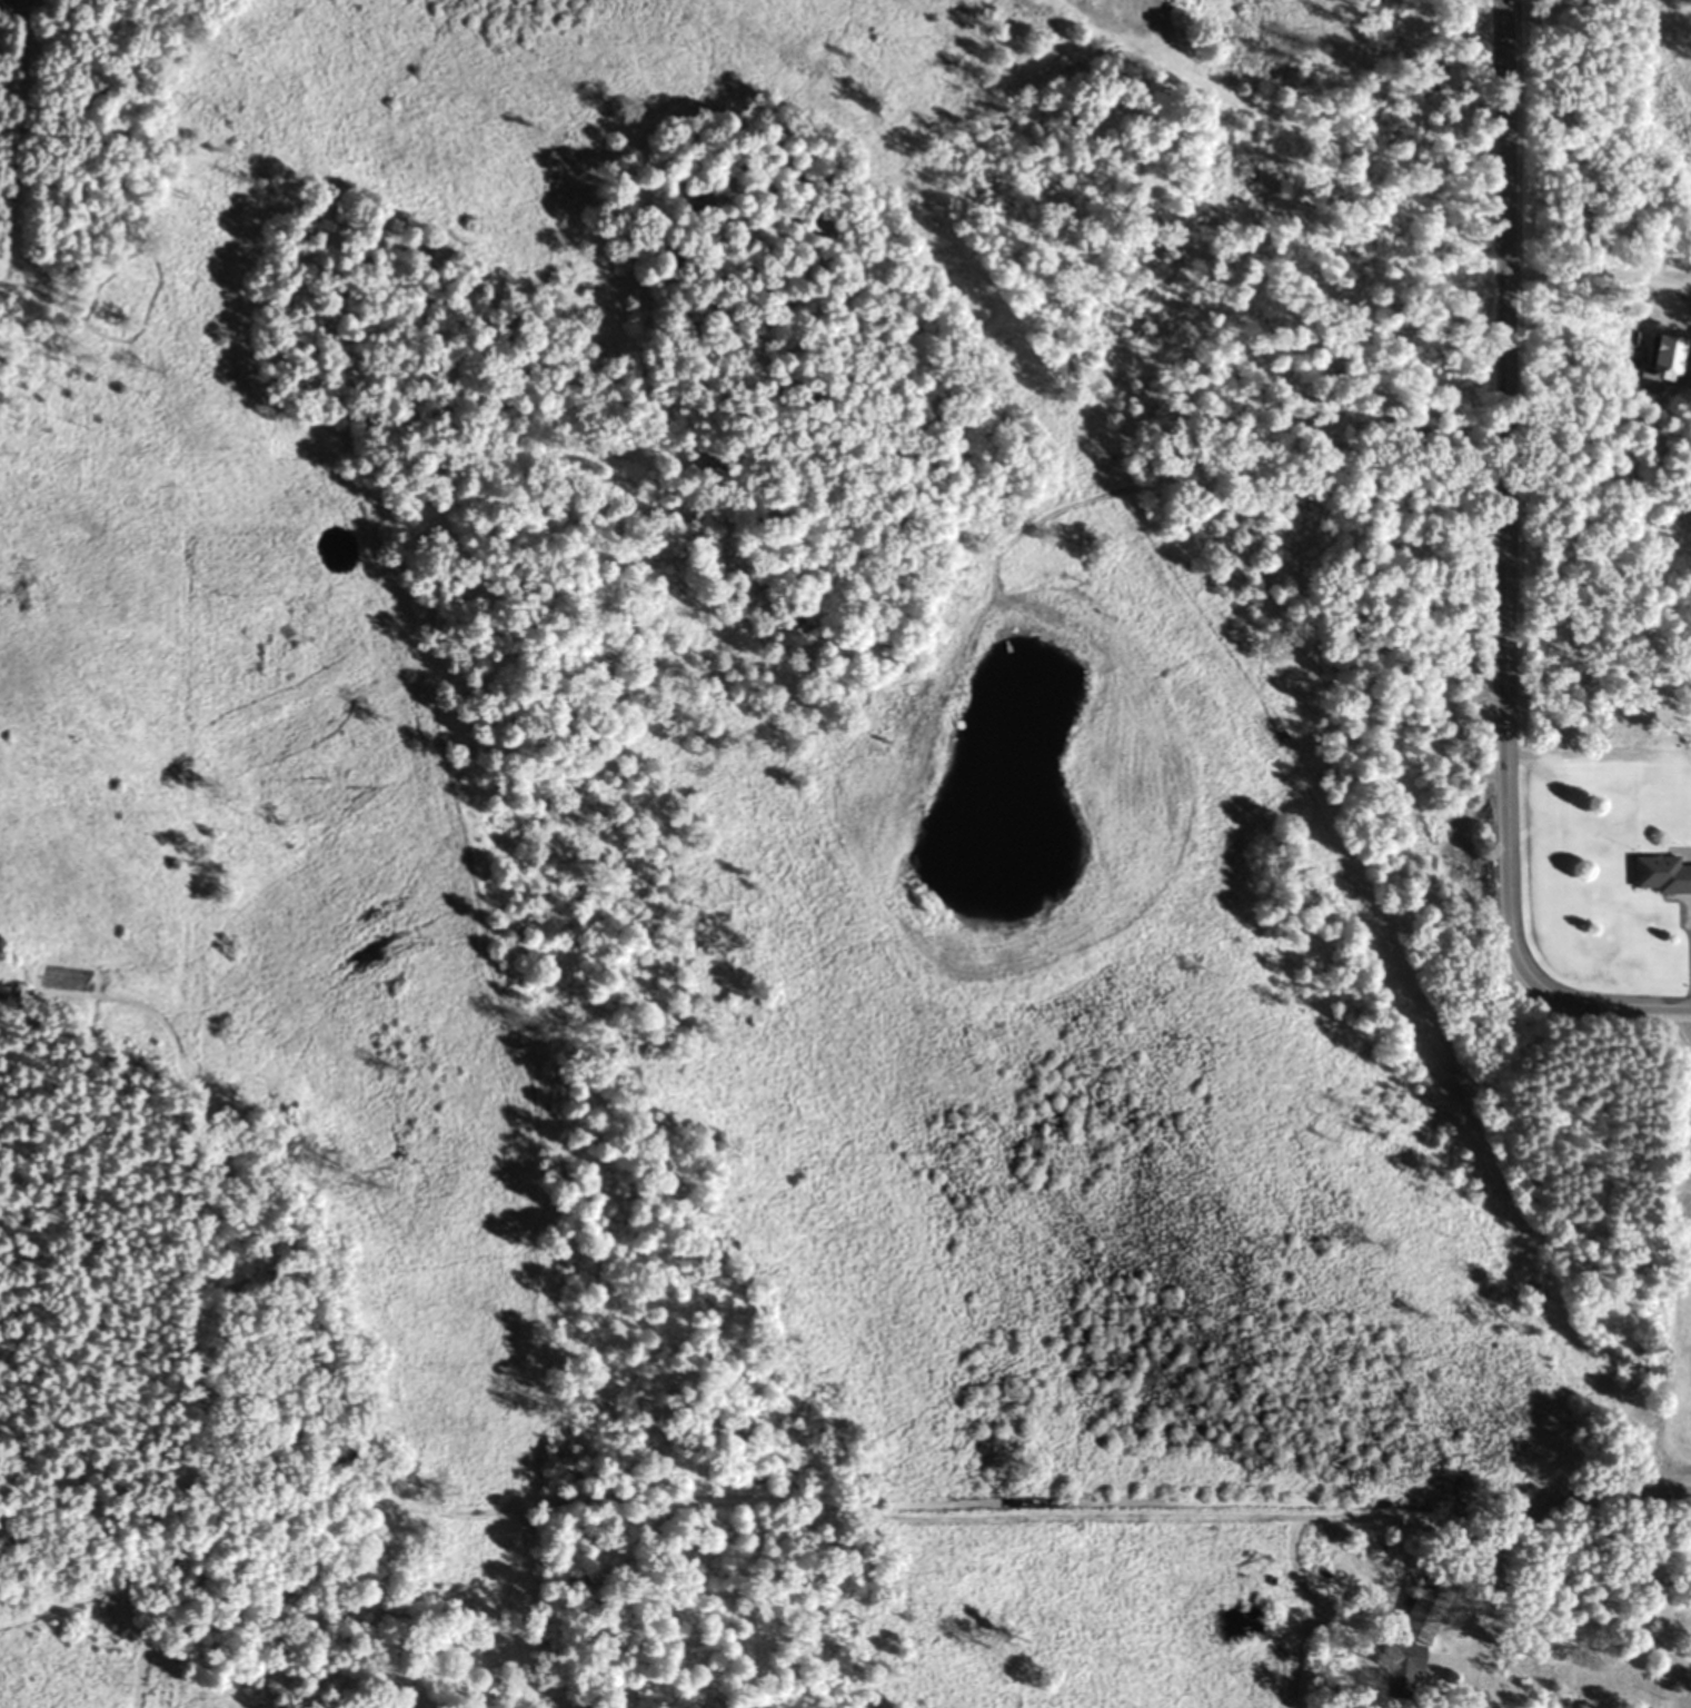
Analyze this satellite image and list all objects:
road: (1505, 577)
building: (1657, 875)
road: (1542, 1510)
building: (1395, 1675)

